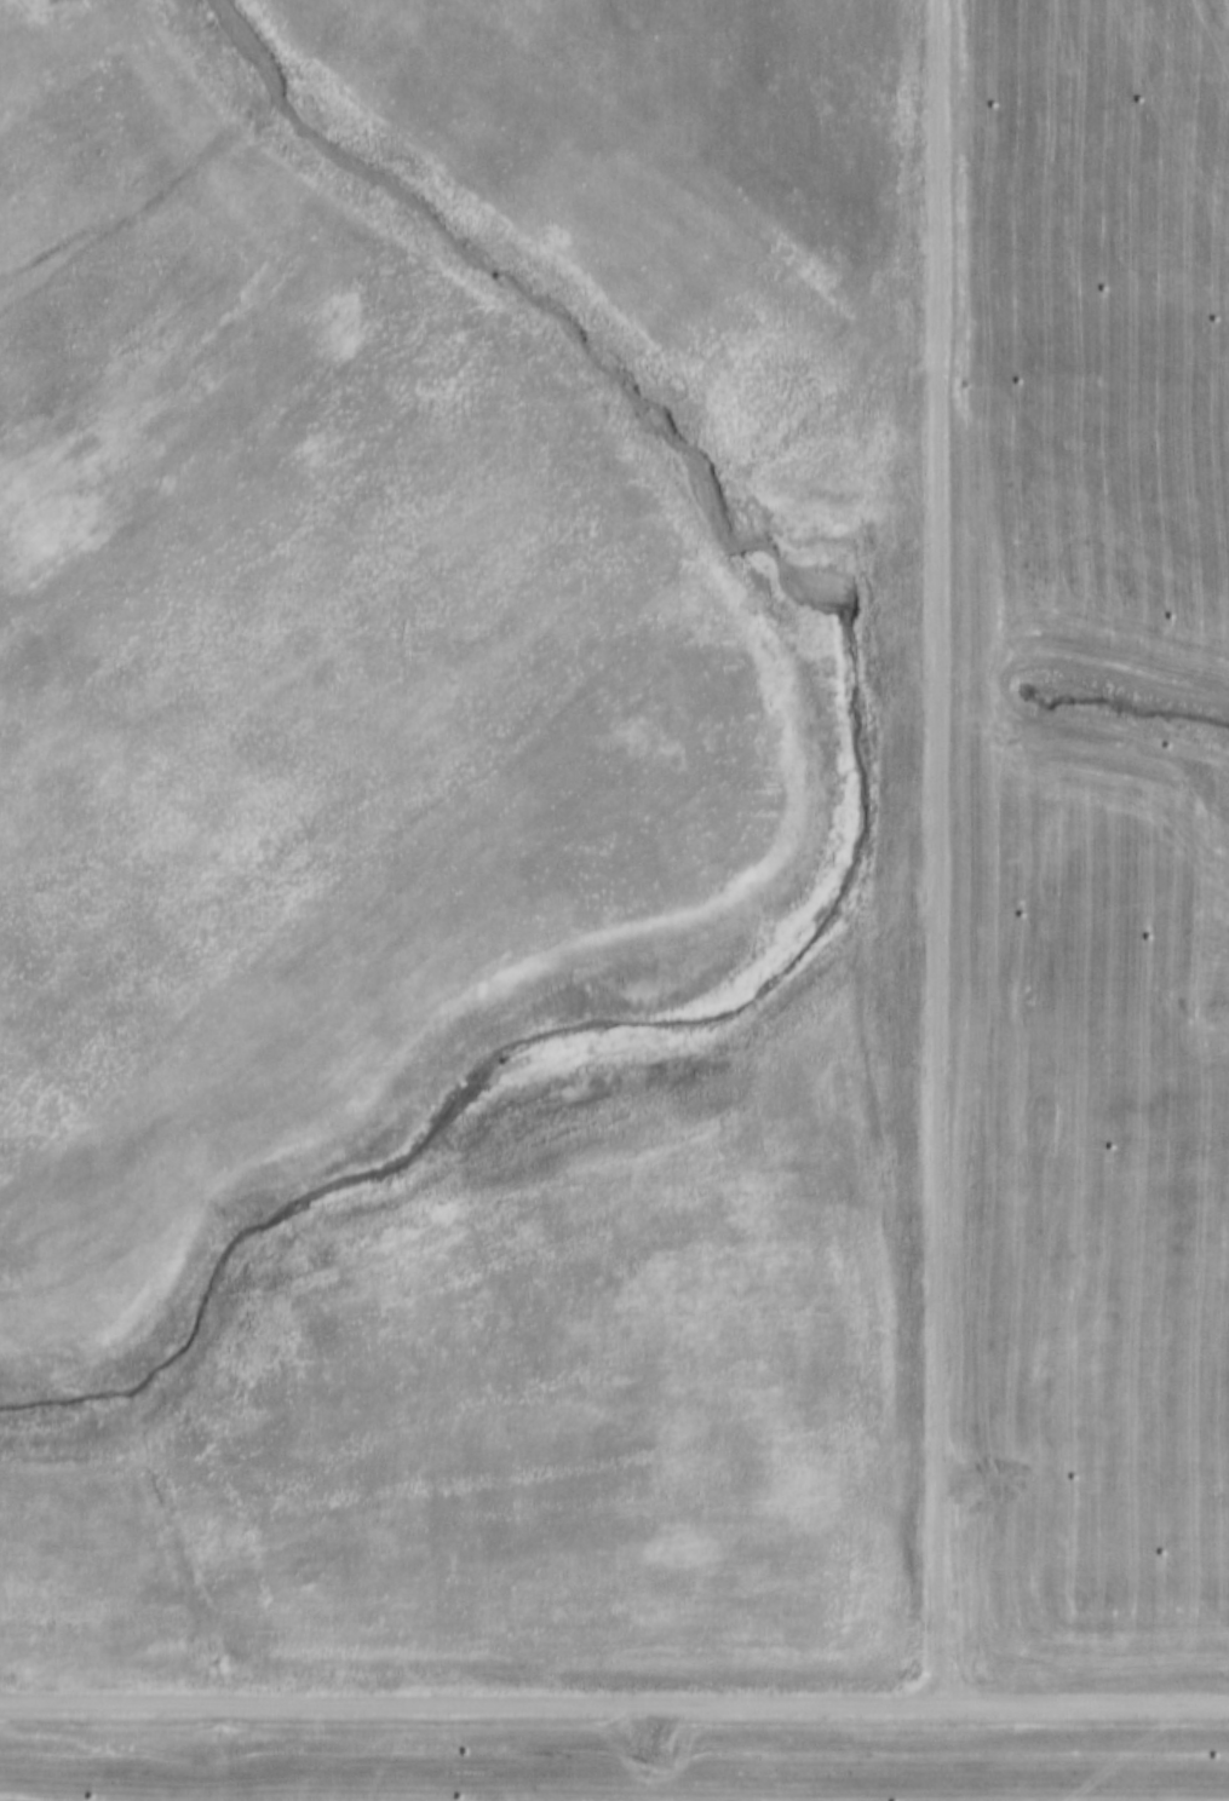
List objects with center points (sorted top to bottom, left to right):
quarry: (630, 856)

